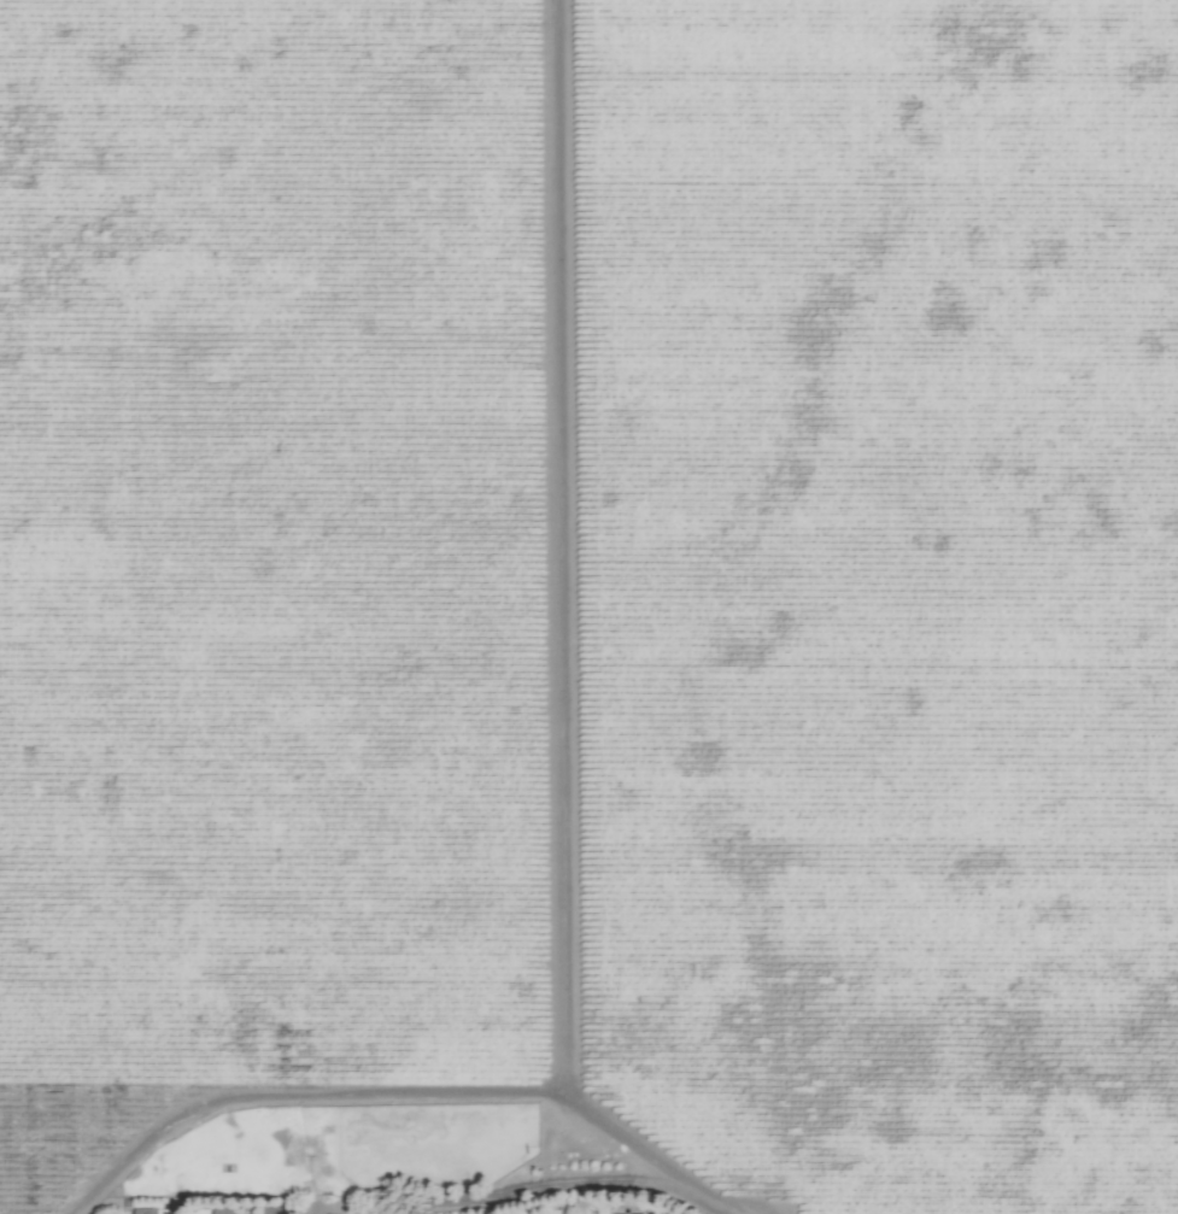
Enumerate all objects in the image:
crop: (588, 606)
road: (410, 1092)
road: (523, 1184)
building: (224, 1209)
building: (269, 1209)
building: (145, 1210)

